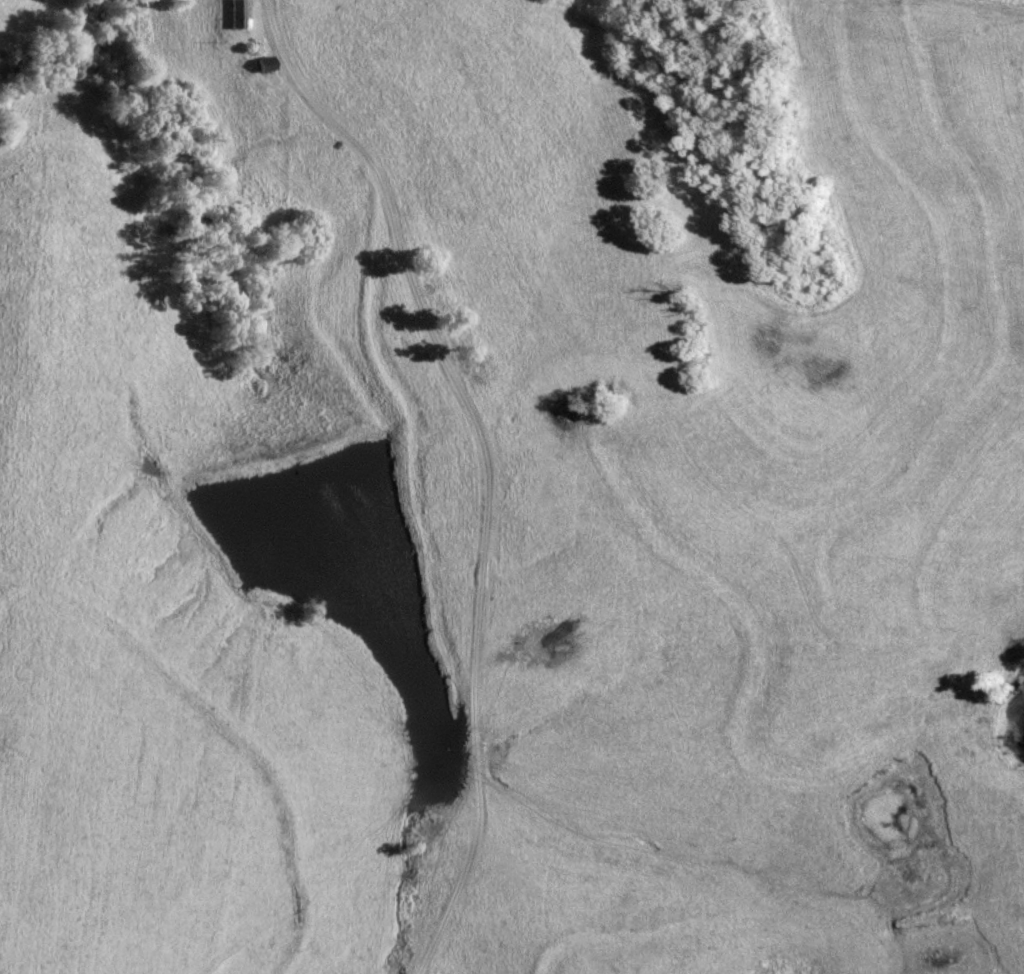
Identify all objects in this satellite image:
building: (239, 13)

